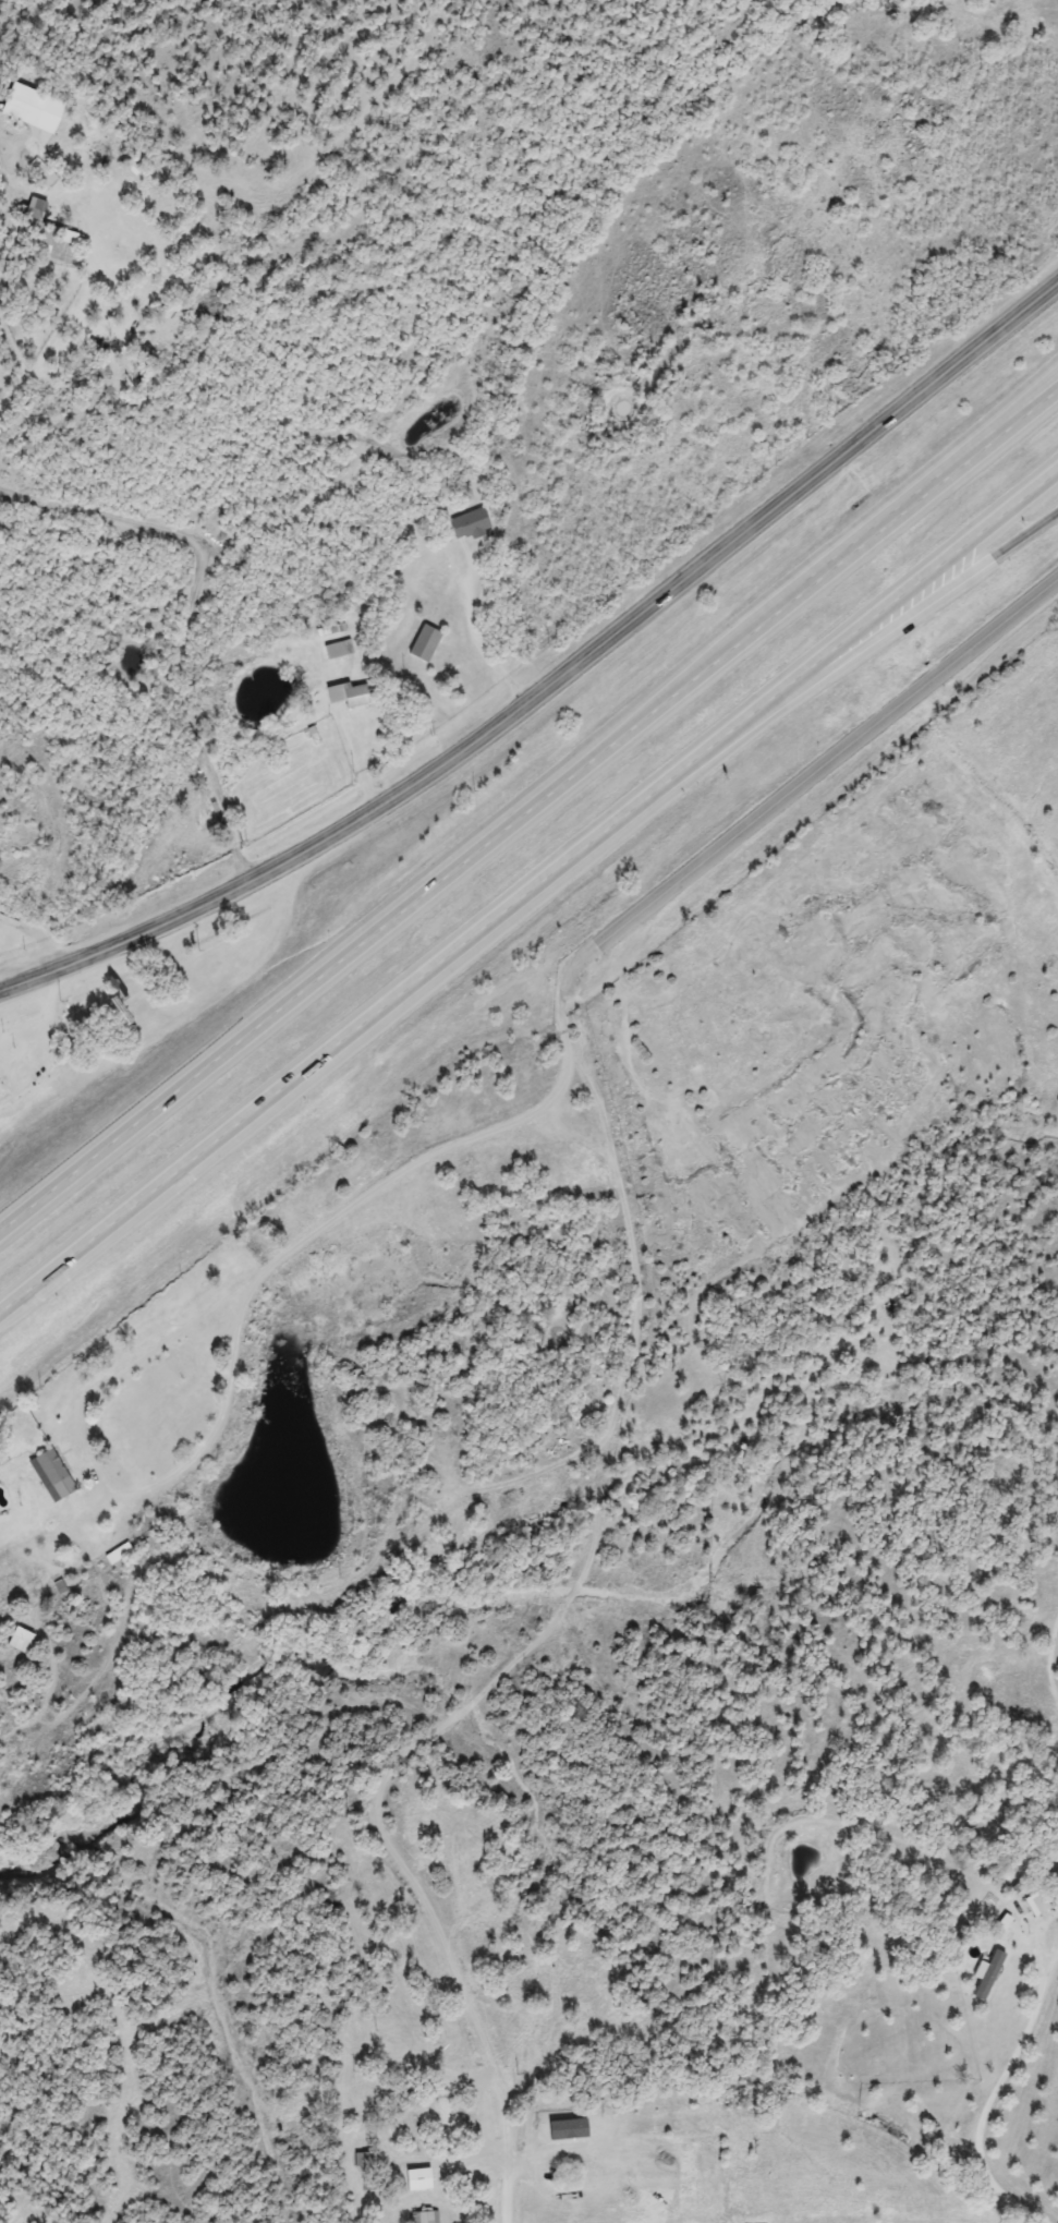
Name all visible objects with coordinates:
building: (24, 97)
road: (3, 191)
building: (31, 210)
building: (65, 238)
building: (50, 252)
road: (12, 307)
building: (465, 525)
road: (828, 563)
road: (173, 619)
road: (469, 630)
building: (421, 643)
road: (858, 651)
road: (554, 668)
building: (346, 694)
road: (785, 783)
road: (528, 809)
road: (530, 891)
road: (35, 937)
road: (558, 1066)
road: (216, 1409)
building: (47, 1475)
road: (548, 1621)
building: (16, 1641)
building: (992, 1910)
road: (983, 2101)
road: (477, 2115)
building: (438, 2125)
road: (500, 2153)
building: (365, 2161)
building: (424, 2218)

